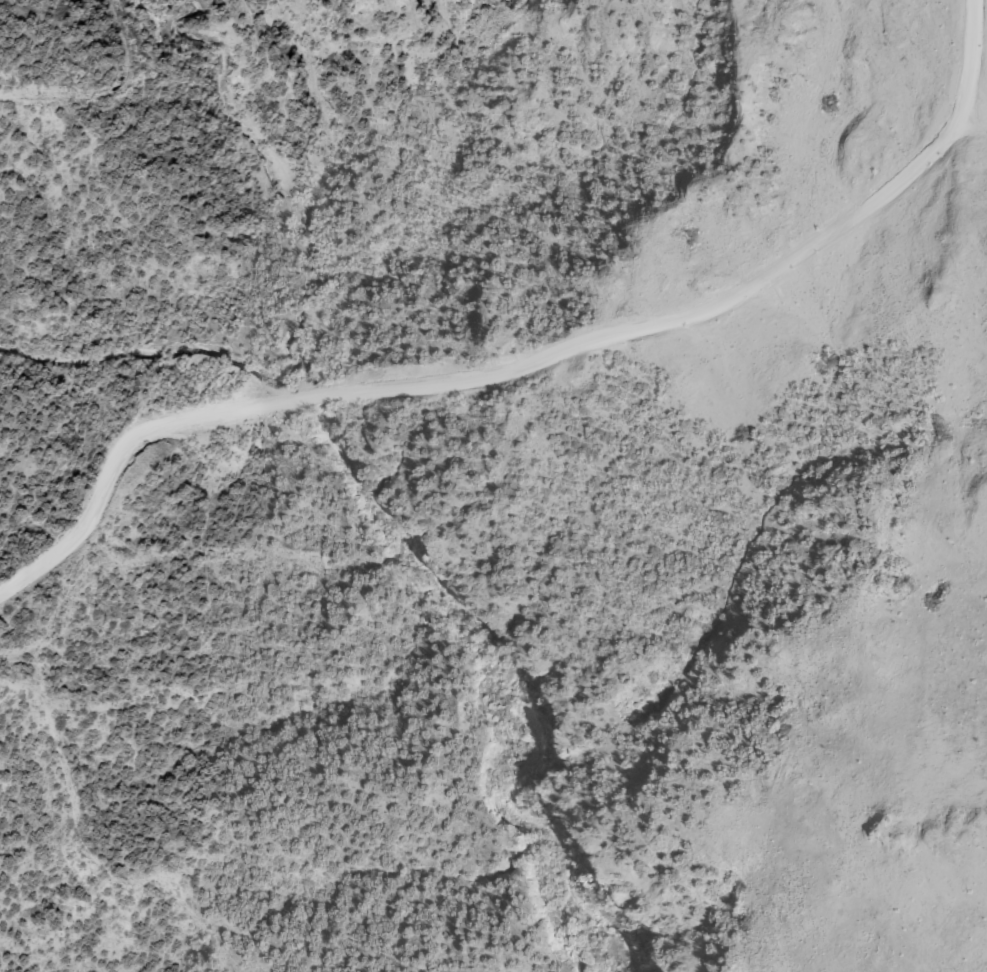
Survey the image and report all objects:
road: (496, 516)

